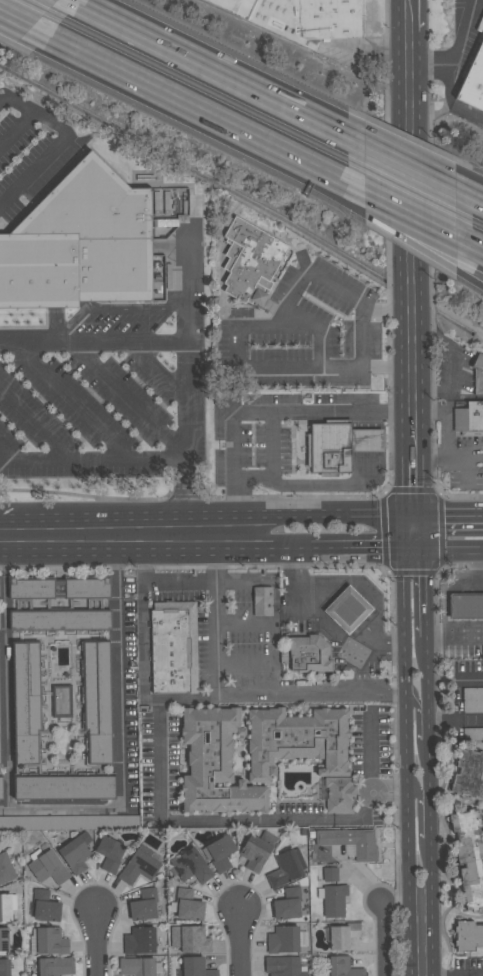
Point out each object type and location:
road: (78, 1)
road: (407, 16)
building: (300, 18)
road: (25, 20)
road: (21, 22)
road: (93, 53)
road: (459, 55)
road: (216, 69)
building: (473, 82)
road: (450, 103)
road: (14, 104)
road: (242, 127)
road: (14, 128)
road: (243, 141)
road: (47, 153)
road: (404, 163)
road: (470, 196)
road: (403, 206)
road: (402, 237)
road: (470, 239)
road: (410, 240)
building: (79, 248)
building: (251, 262)
road: (468, 275)
road: (235, 331)
road: (362, 338)
road: (92, 342)
road: (157, 370)
building: (477, 373)
road: (185, 396)
road: (71, 398)
road: (128, 401)
road: (323, 413)
building: (469, 419)
road: (35, 420)
road: (443, 422)
building: (338, 446)
road: (413, 452)
road: (448, 456)
road: (233, 458)
road: (91, 460)
road: (413, 487)
road: (333, 516)
road: (448, 516)
traffic signals: (414, 517)
road: (126, 519)
road: (118, 534)
road: (408, 534)
road: (420, 534)
road: (128, 548)
road: (282, 549)
road: (356, 551)
traffic signals: (403, 551)
road: (415, 551)
traffic signals: (427, 552)
road: (455, 552)
road: (478, 581)
road: (177, 582)
building: (57, 588)
road: (452, 588)
road: (428, 594)
building: (265, 599)
building: (352, 605)
building: (466, 607)
gas station: (461, 615)
building: (59, 620)
road: (215, 623)
gas station: (335, 623)
road: (142, 624)
road: (326, 624)
road: (464, 634)
road: (437, 638)
building: (177, 646)
building: (313, 651)
road: (6, 669)
road: (429, 671)
road: (468, 683)
road: (275, 699)
building: (472, 700)
building: (61, 701)
building: (96, 701)
parking lot: (473, 701)
building: (26, 703)
road: (417, 705)
road: (440, 722)
road: (455, 722)
road: (472, 722)
road: (430, 724)
road: (407, 729)
building: (472, 734)
parking lot: (472, 734)
road: (122, 735)
building: (296, 741)
building: (214, 763)
road: (430, 767)
building: (469, 774)
building: (63, 787)
building: (1, 788)
road: (379, 792)
road: (373, 793)
road: (404, 793)
road: (419, 793)
building: (339, 794)
road: (431, 817)
road: (266, 820)
building: (43, 823)
building: (350, 841)
building: (257, 850)
building: (219, 852)
building: (75, 853)
building: (109, 853)
building: (470, 856)
building: (189, 866)
building: (47, 867)
building: (138, 868)
building: (286, 868)
building: (6, 869)
building: (329, 874)
road: (432, 875)
building: (332, 899)
building: (287, 904)
building: (143, 905)
building: (186, 905)
building: (7, 906)
building: (43, 906)
building: (342, 935)
building: (468, 936)
building: (189, 939)
building: (285, 939)
road: (384, 939)
building: (4, 940)
building: (139, 940)
building: (48, 941)
road: (421, 941)
road: (95, 942)
road: (240, 943)
building: (54, 966)
building: (137, 966)
building: (283, 966)
building: (4, 967)
building: (195, 967)
building: (343, 967)

